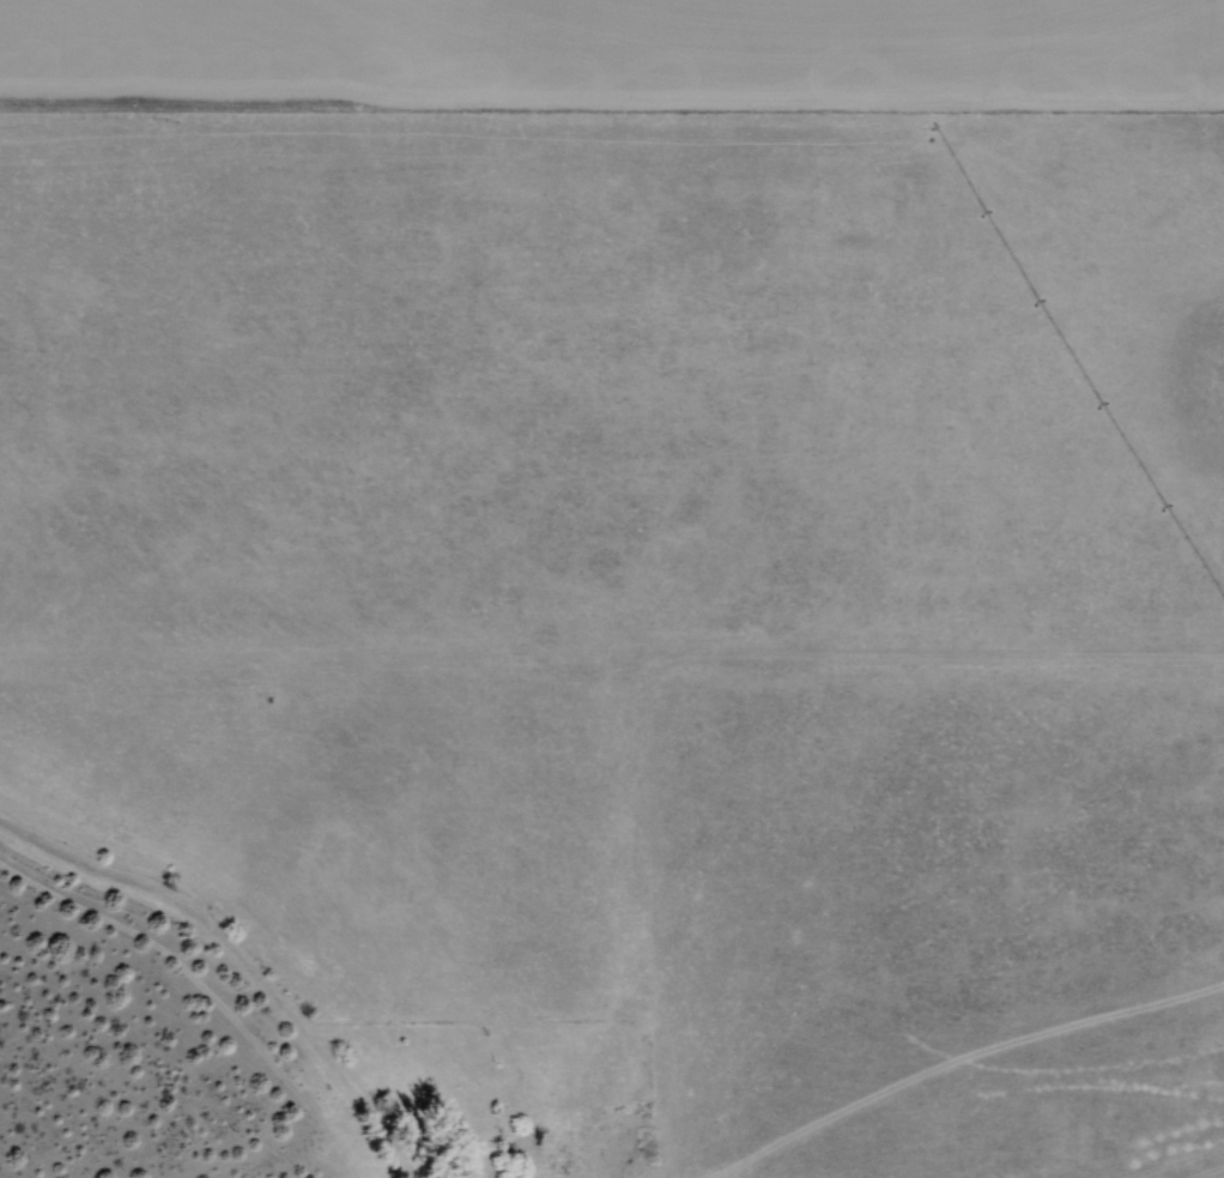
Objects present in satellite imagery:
road: (613, 671)
road: (644, 923)
road: (511, 1009)

